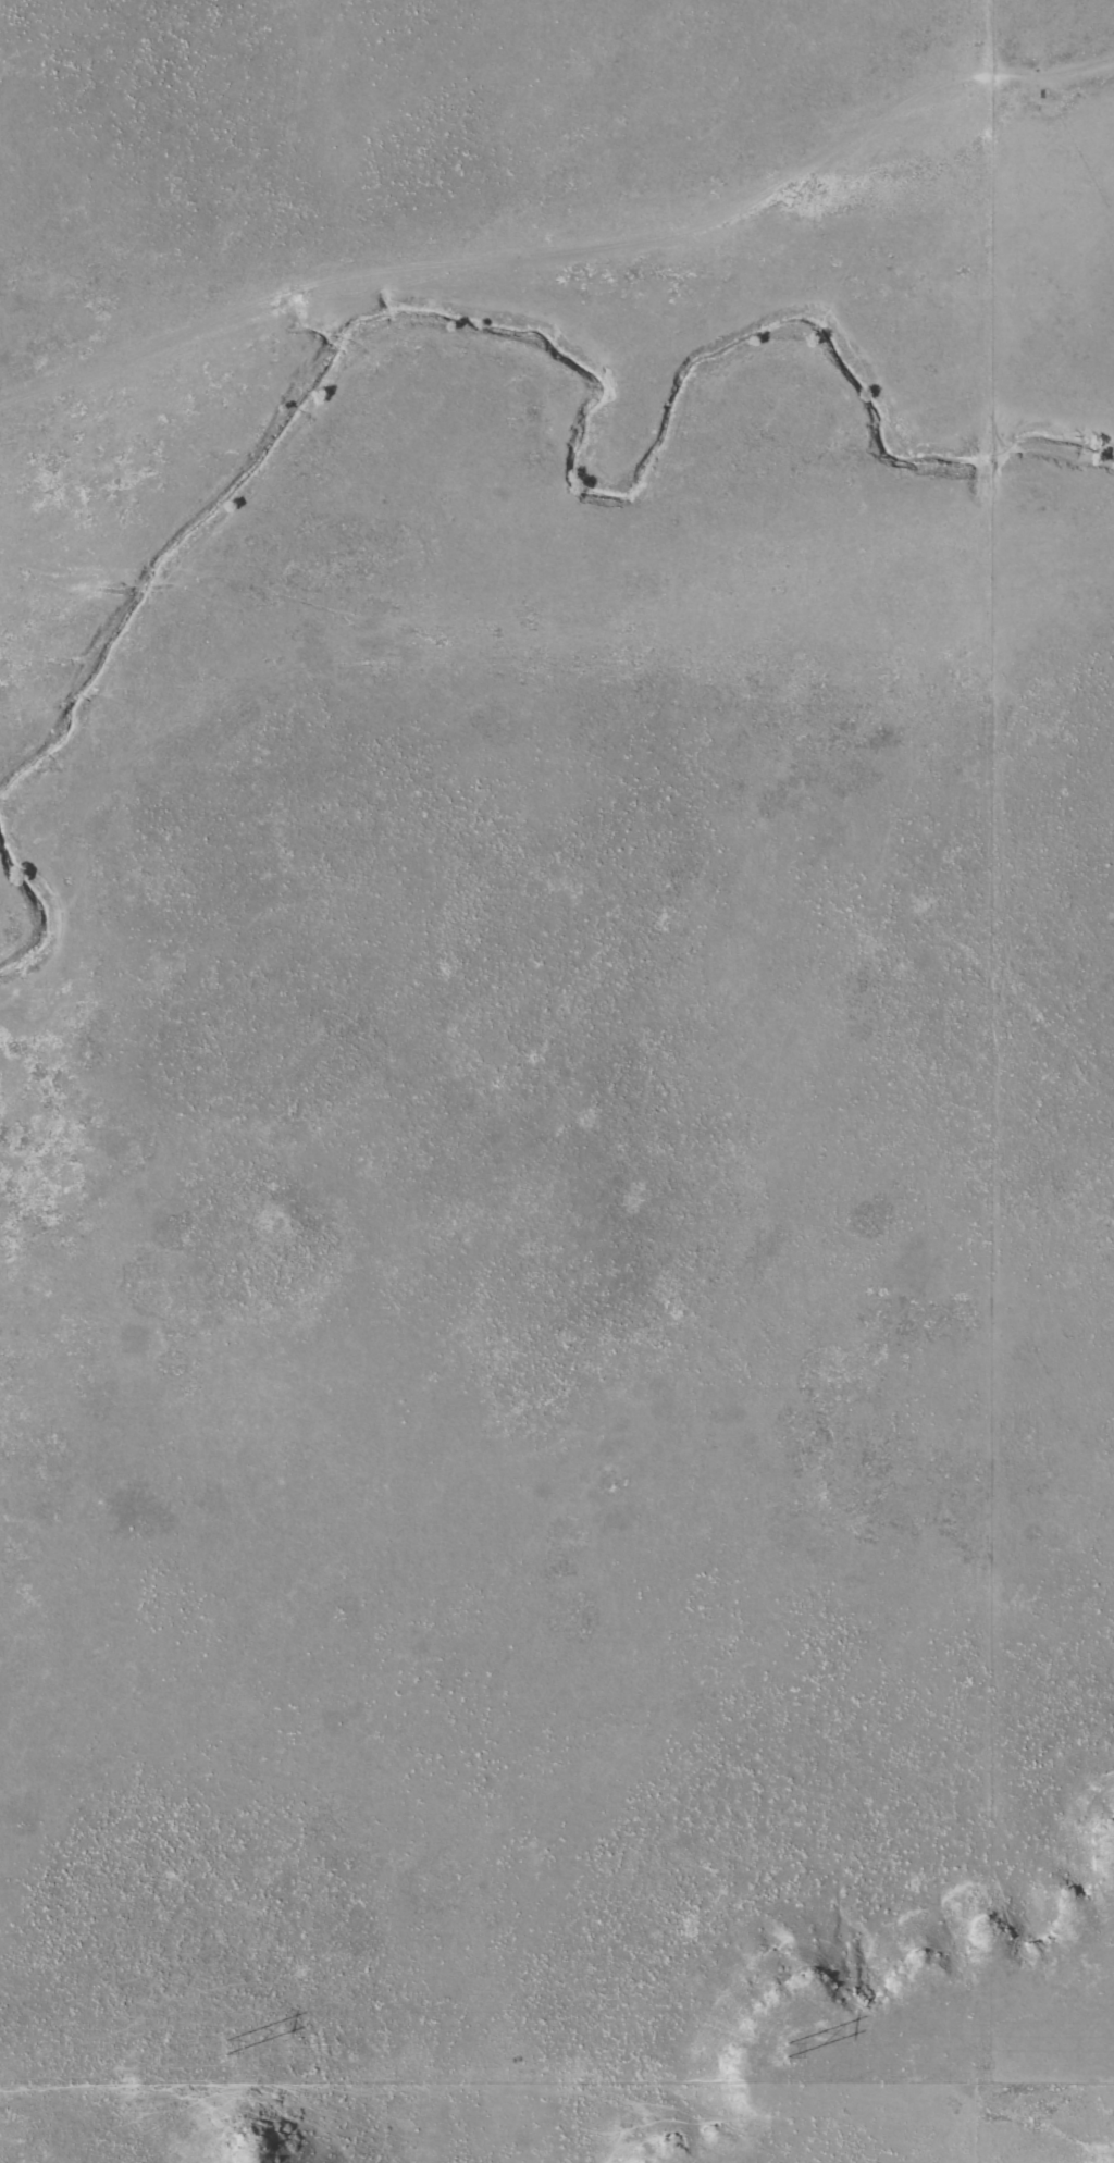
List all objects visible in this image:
power tower: (224, 2047)
power tower: (784, 2050)

